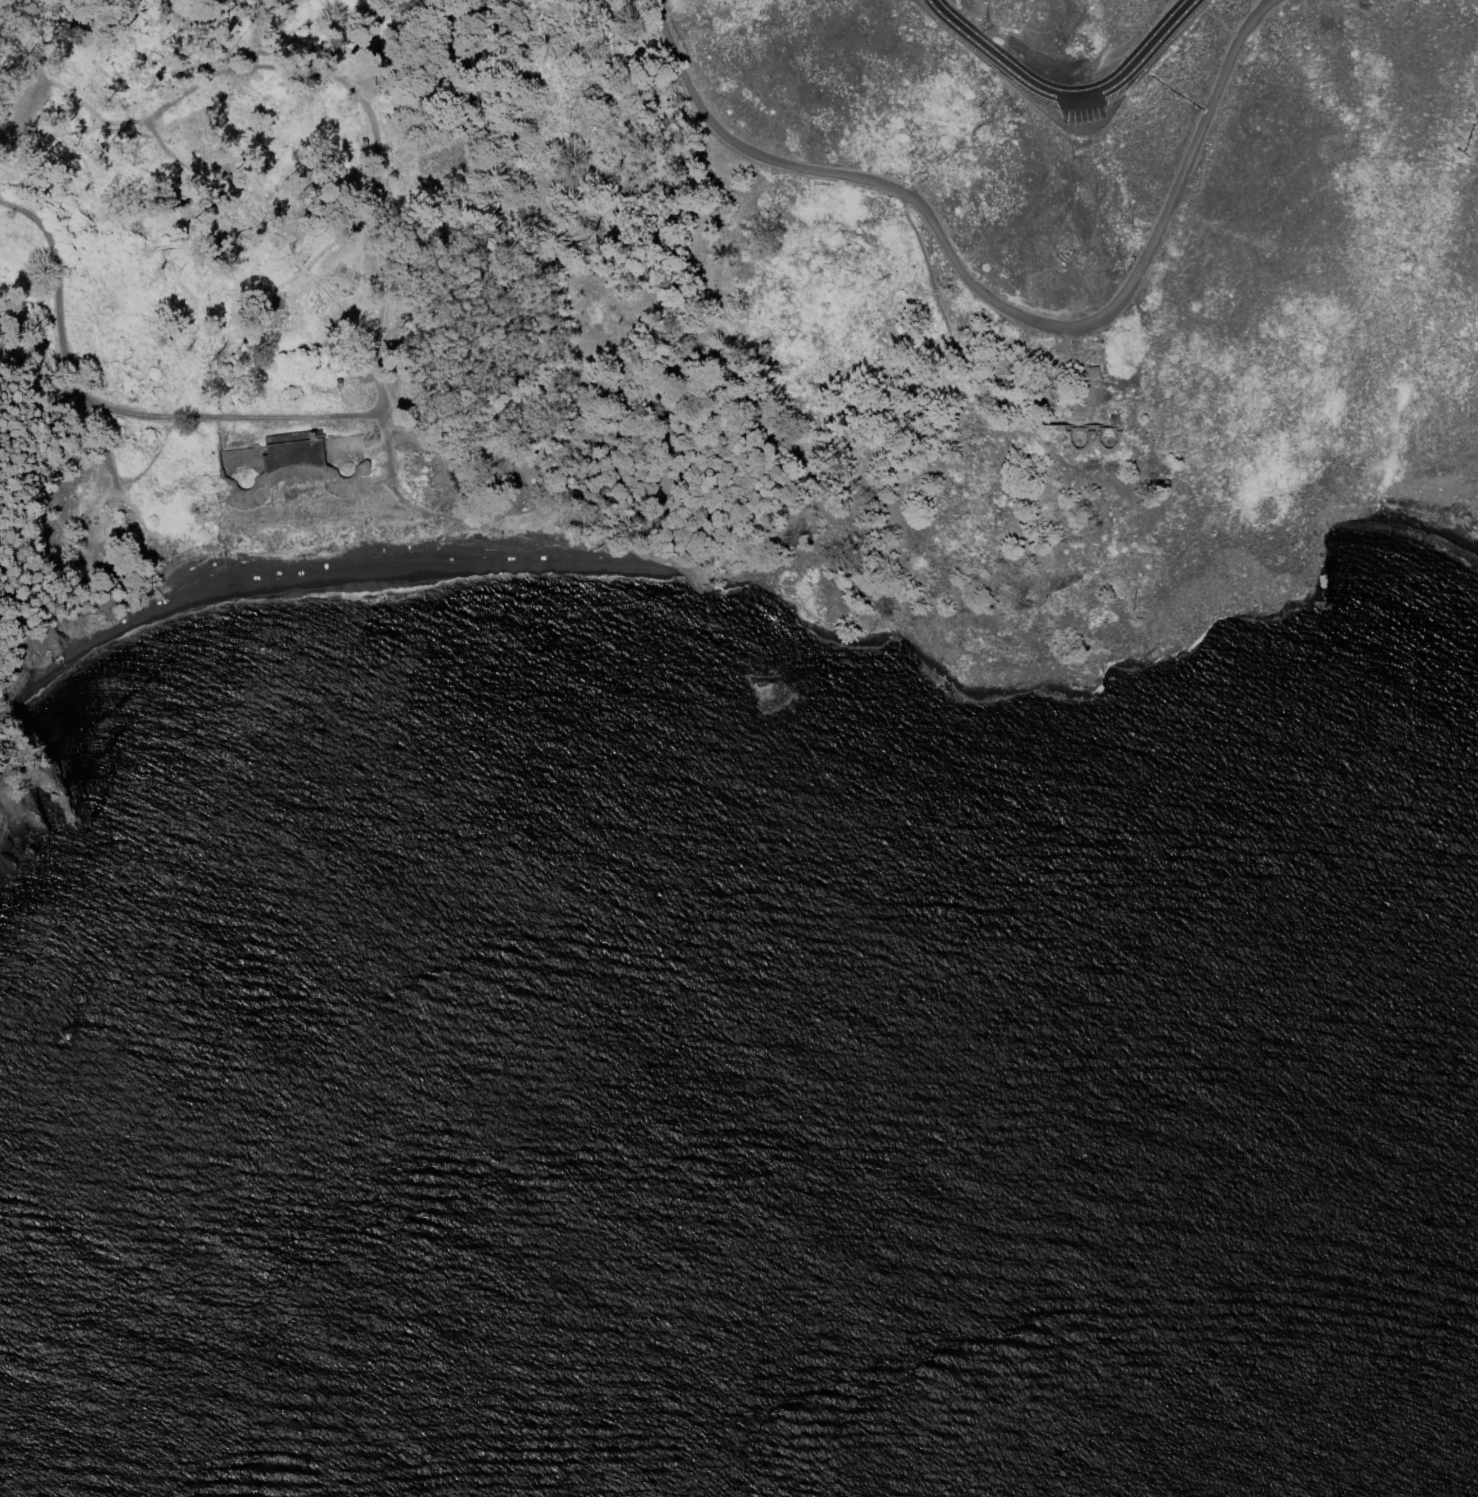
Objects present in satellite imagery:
parking lot: (1024, 90)
road: (1069, 98)
road: (30, 105)
road: (360, 107)
parking lot: (20, 113)
road: (173, 120)
road: (211, 186)
road: (325, 209)
road: (241, 238)
road: (290, 247)
building: (1065, 251)
road: (298, 264)
road: (304, 267)
road: (281, 284)
road: (991, 299)
road: (975, 366)
road: (1080, 371)
road: (117, 408)
road: (1090, 418)
road: (380, 437)
building: (247, 471)
road: (113, 479)
road: (100, 500)
road: (148, 535)
road: (259, 561)

